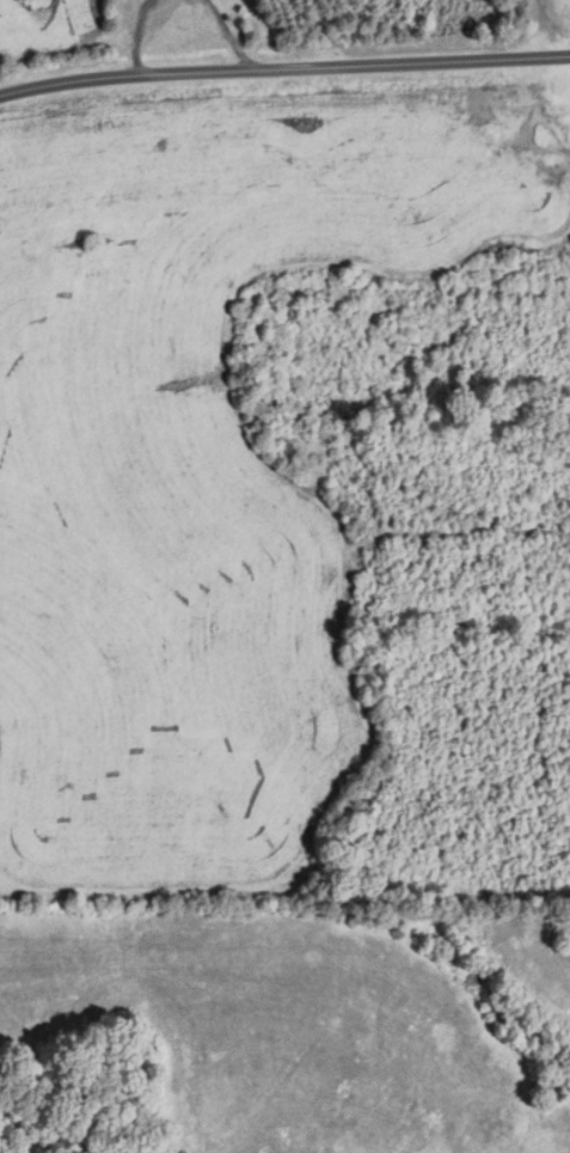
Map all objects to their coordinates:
road: (283, 56)

